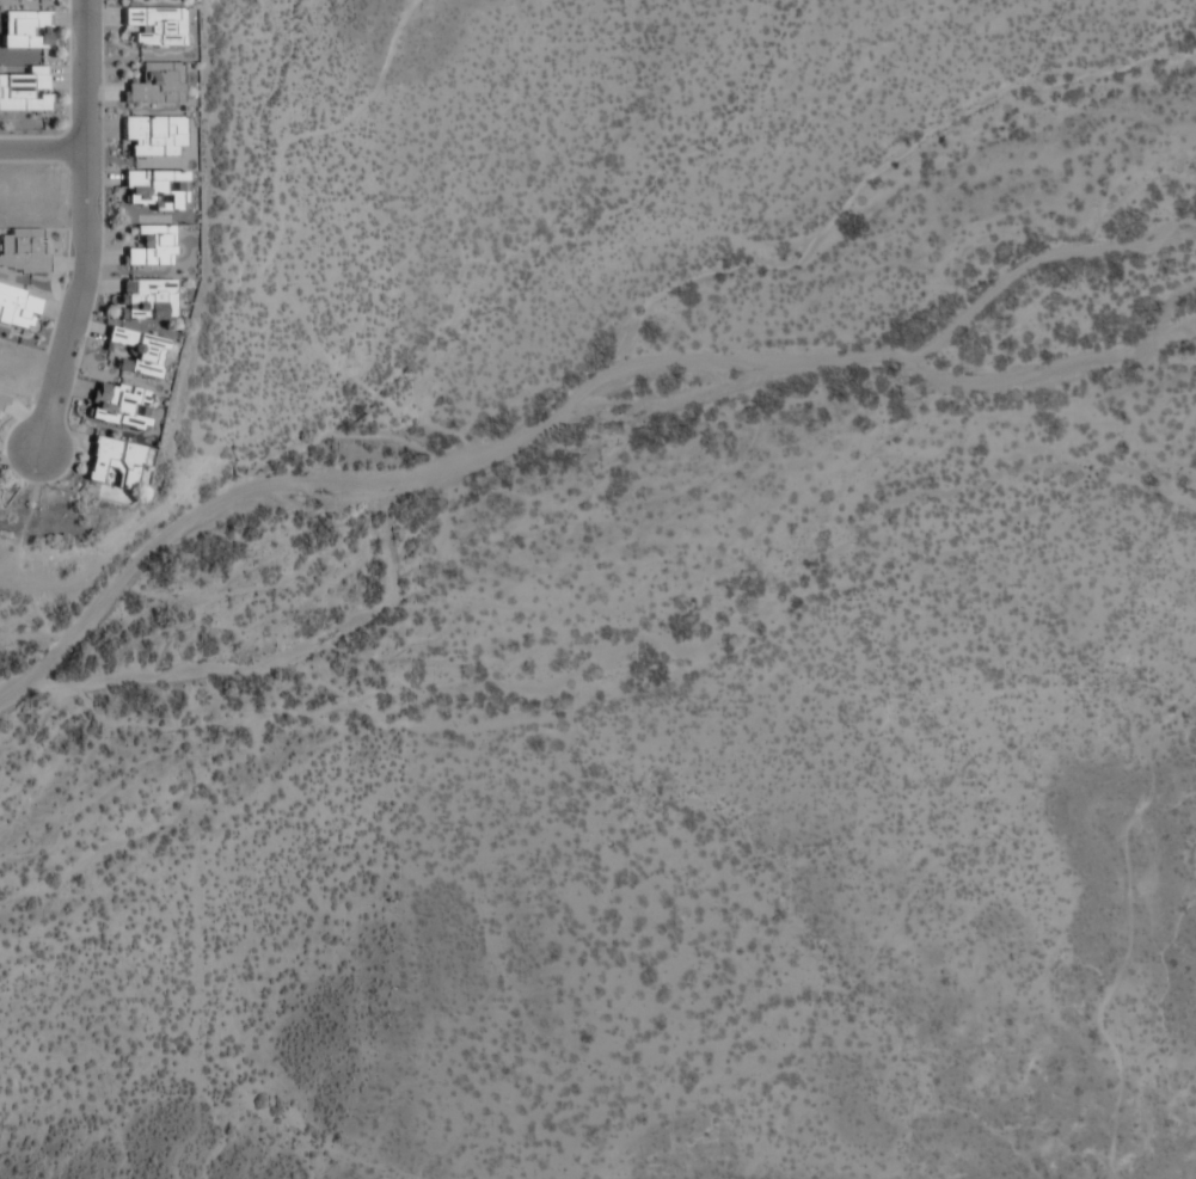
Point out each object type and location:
building: (154, 26)
building: (25, 30)
building: (154, 84)
building: (24, 91)
building: (153, 135)
road: (42, 152)
building: (153, 190)
road: (86, 227)
building: (149, 247)
building: (146, 300)
building: (17, 308)
building: (139, 352)
building: (119, 406)
building: (114, 461)

